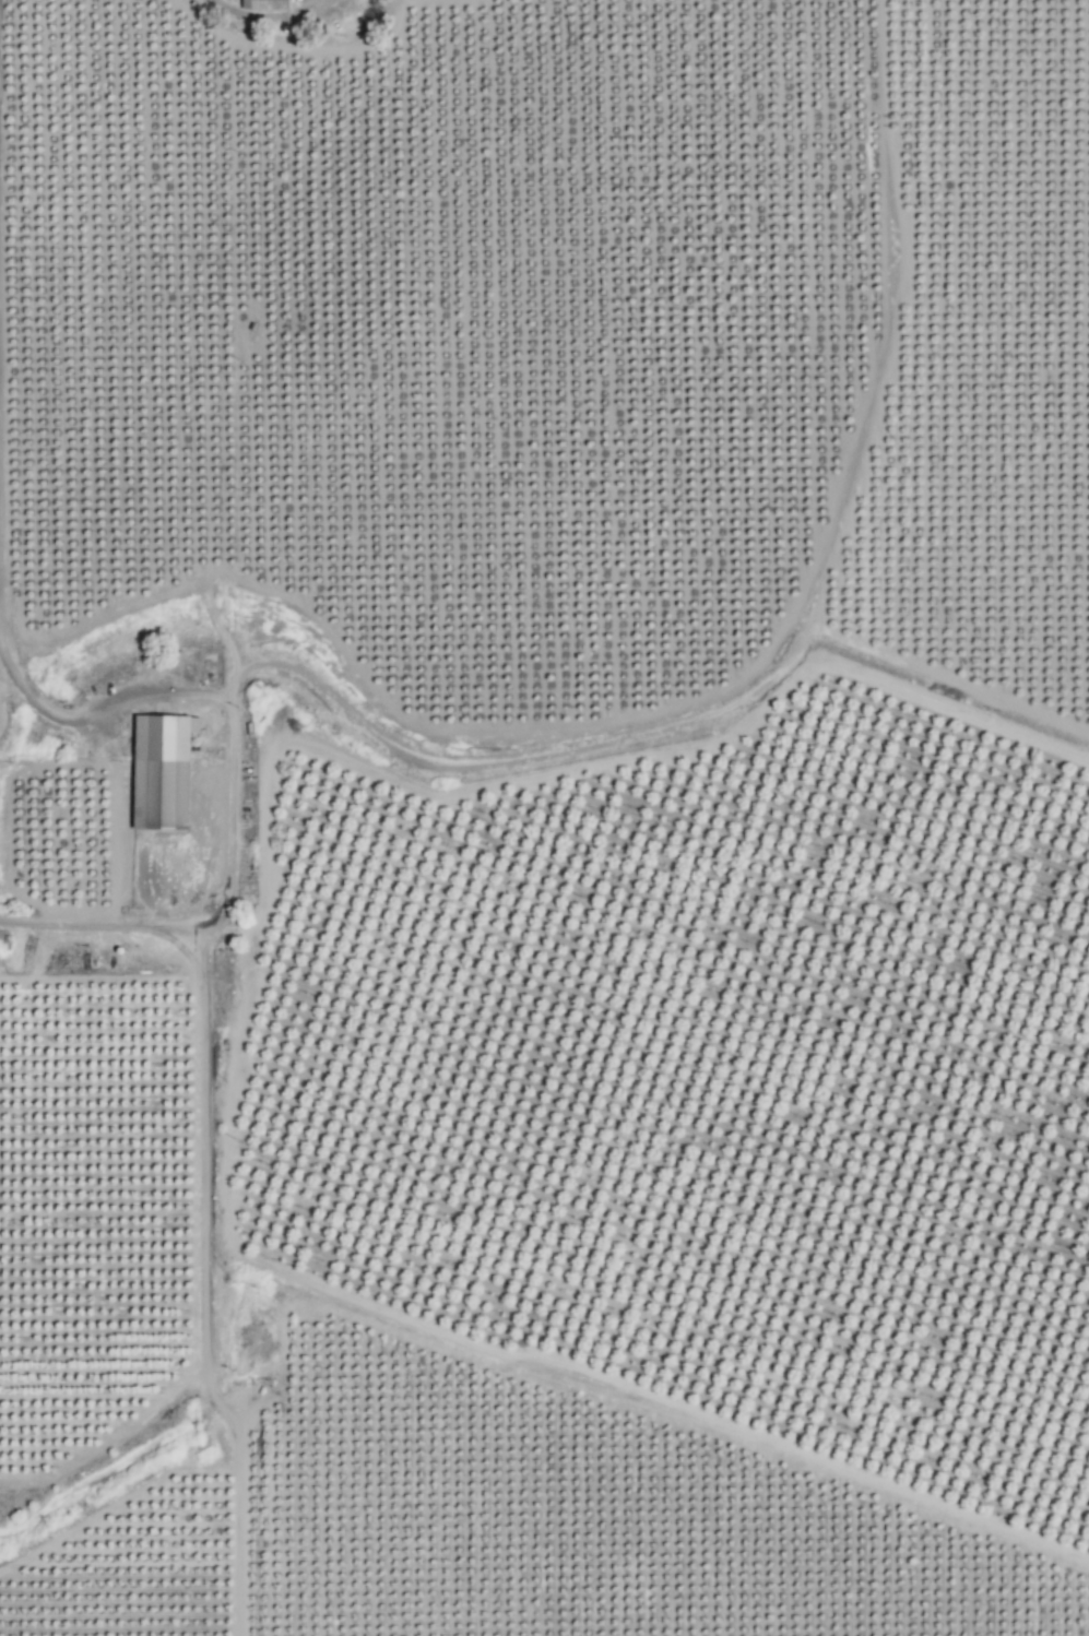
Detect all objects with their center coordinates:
building: (262, 4)
road: (275, 19)
building: (158, 772)
road: (232, 789)

